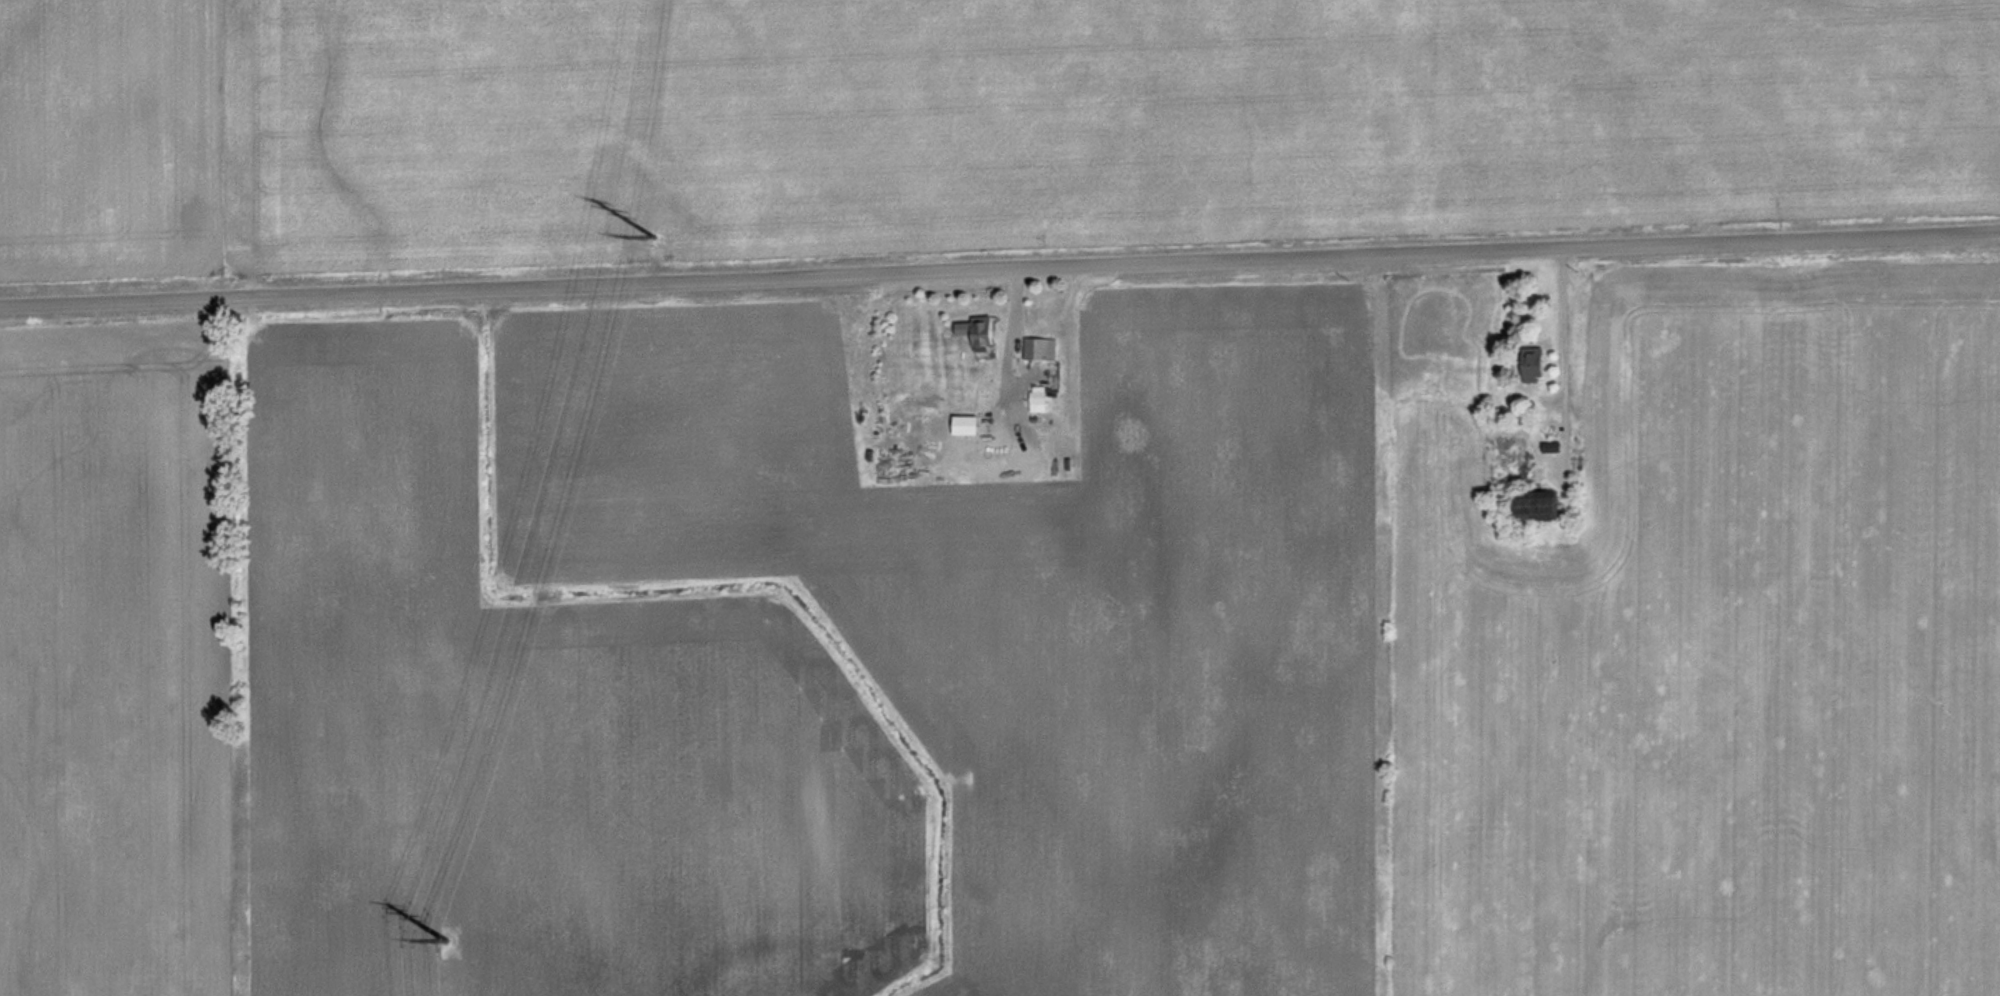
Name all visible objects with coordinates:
power tower: (652, 223)
road: (1000, 271)
building: (988, 333)
building: (1037, 349)
building: (1539, 365)
building: (1040, 398)
building: (1000, 459)
power tower: (438, 932)

